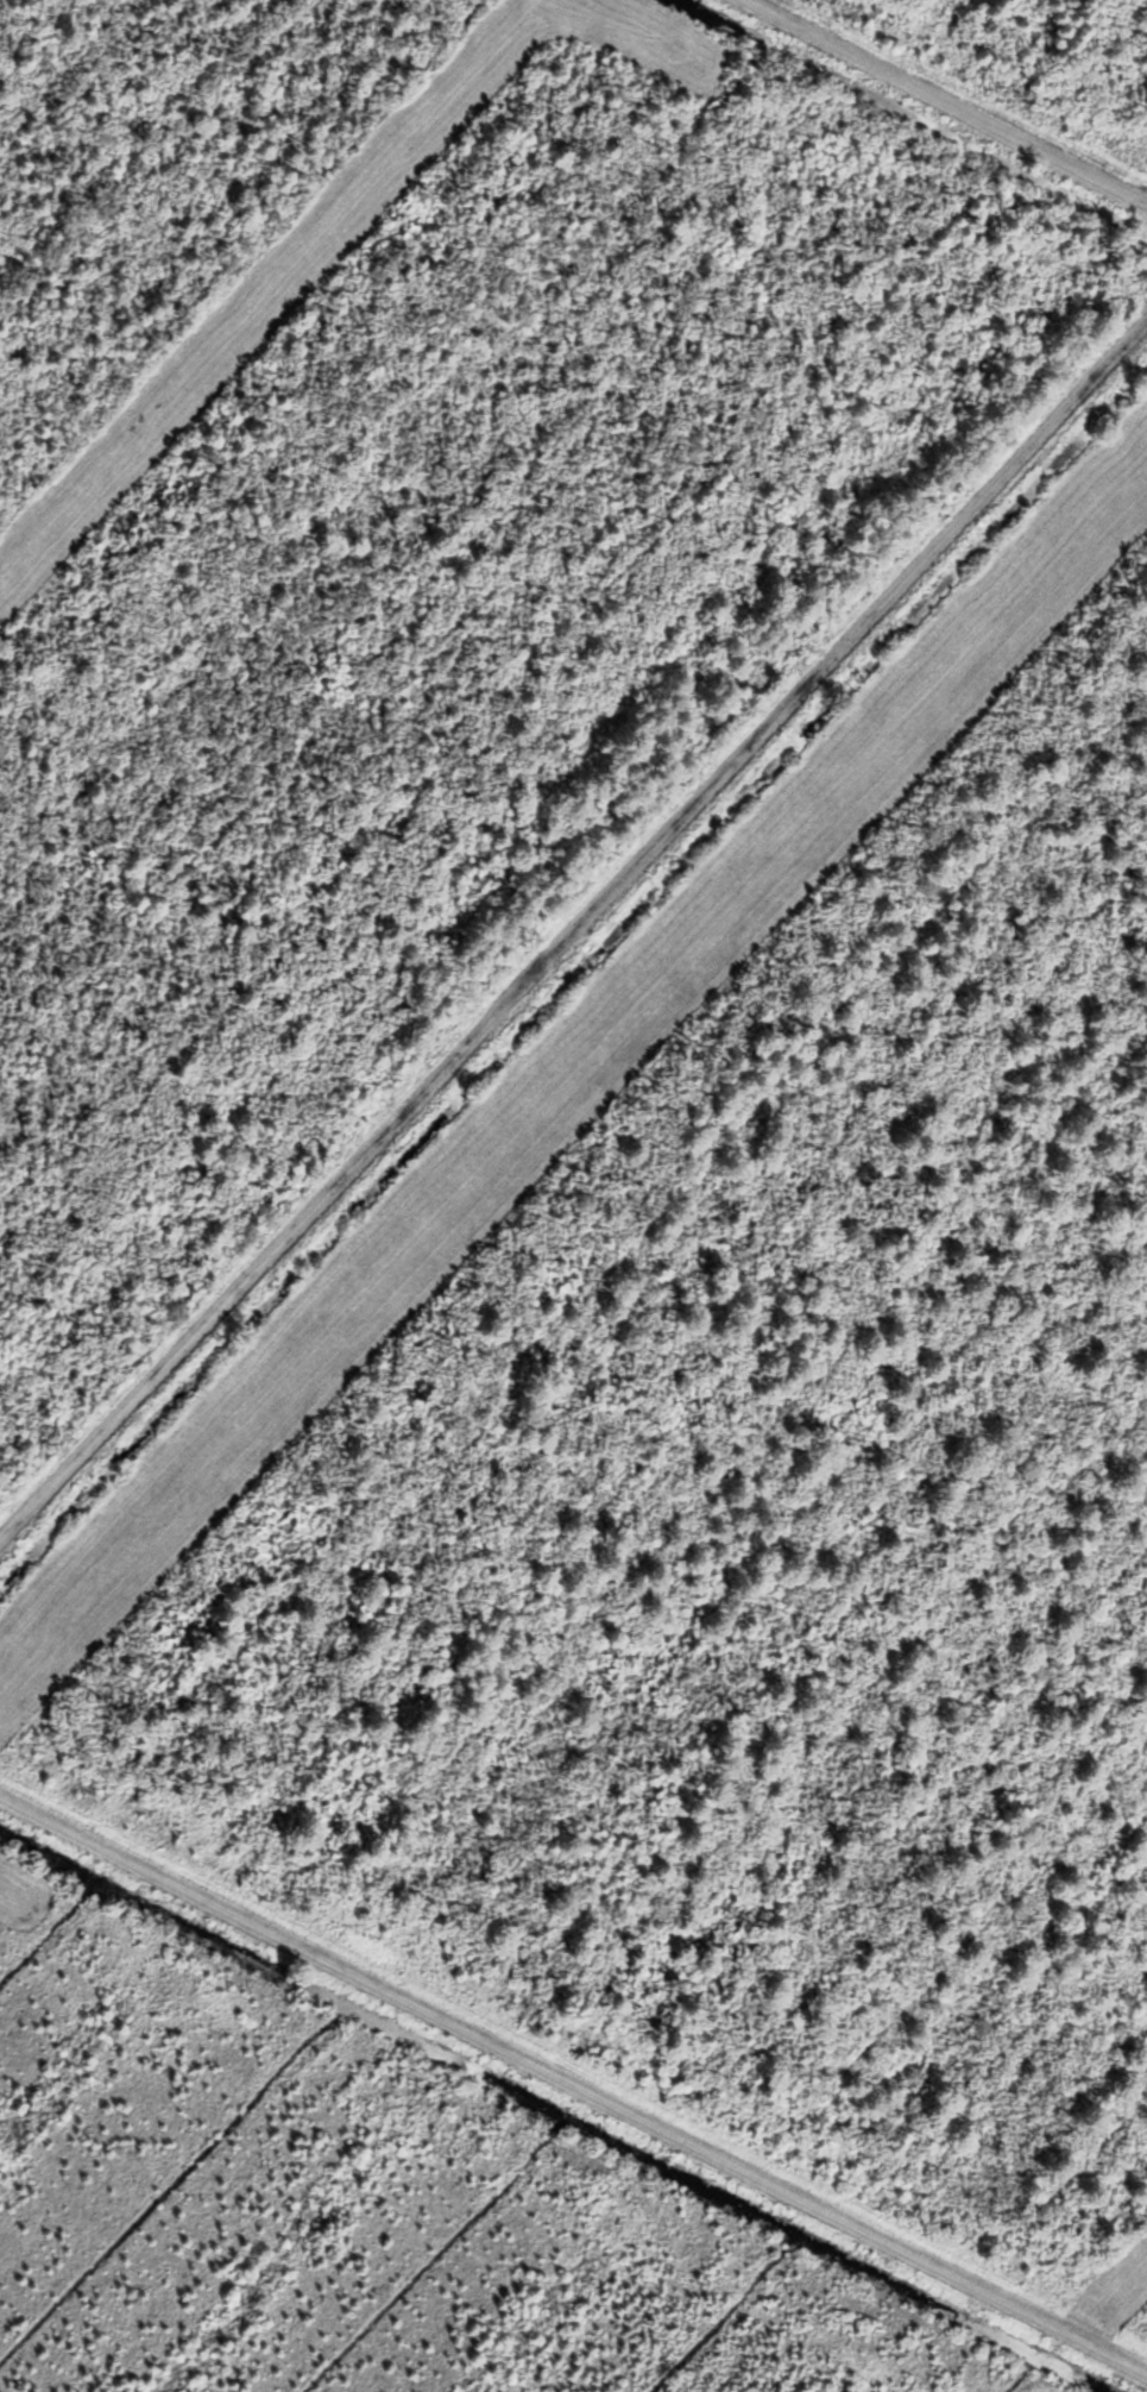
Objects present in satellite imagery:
road: (946, 103)
road: (572, 925)
road: (572, 2097)

